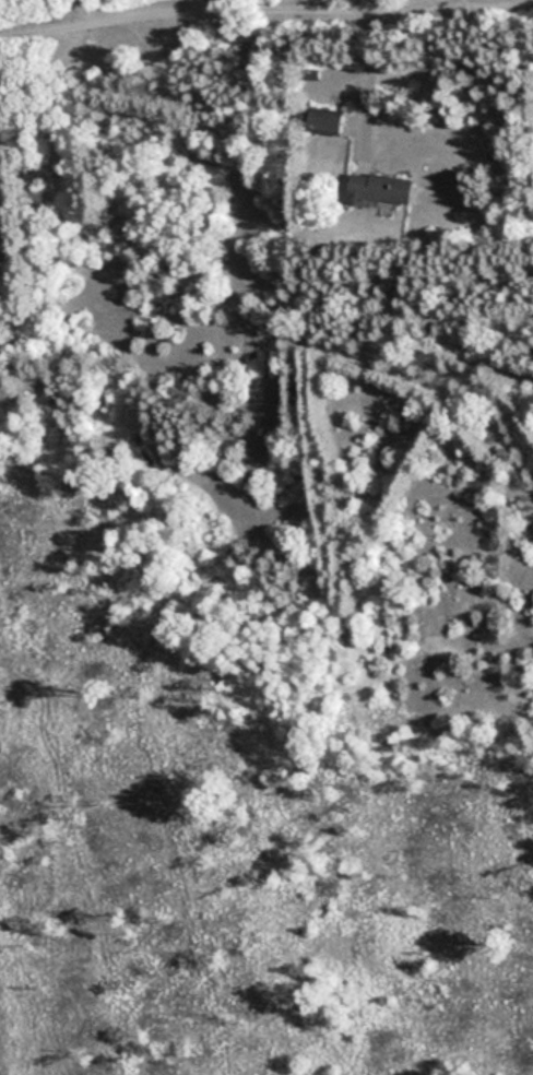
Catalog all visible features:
road: (240, 17)
road: (366, 83)
building: (327, 121)
road: (54, 176)
building: (380, 188)
park: (269, 658)

